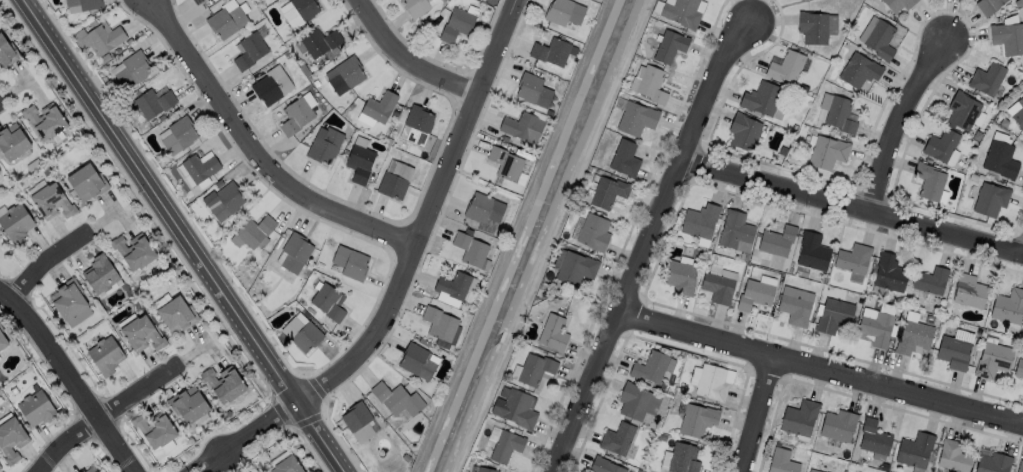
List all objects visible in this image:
building: (196, 2)
building: (83, 4)
building: (896, 4)
building: (987, 6)
building: (416, 7)
building: (298, 12)
building: (562, 12)
building: (680, 13)
building: (225, 22)
building: (455, 25)
building: (811, 28)
building: (1007, 36)
building: (104, 37)
building: (880, 40)
building: (318, 43)
building: (668, 46)
building: (4, 50)
building: (249, 51)
building: (549, 52)
road: (408, 60)
building: (785, 68)
building: (131, 70)
building: (859, 70)
building: (344, 76)
building: (986, 79)
building: (647, 85)
building: (270, 86)
building: (531, 90)
building: (761, 100)
building: (152, 102)
building: (378, 107)
building: (961, 111)
building: (1018, 114)
building: (839, 115)
building: (294, 117)
building: (48, 120)
building: (635, 120)
road: (893, 124)
building: (416, 125)
building: (521, 127)
building: (742, 133)
building: (177, 135)
building: (14, 141)
building: (323, 145)
building: (940, 146)
road: (258, 150)
building: (827, 153)
building: (623, 160)
building: (999, 160)
building: (358, 164)
building: (504, 164)
building: (198, 167)
building: (0, 171)
building: (393, 180)
building: (86, 182)
building: (928, 182)
building: (606, 194)
building: (51, 200)
building: (989, 200)
building: (224, 201)
road: (851, 208)
building: (483, 209)
road: (423, 213)
building: (16, 221)
building: (700, 221)
building: (734, 230)
building: (253, 231)
building: (592, 233)
road: (186, 235)
road: (645, 240)
building: (776, 240)
building: (470, 250)
building: (135, 251)
building: (812, 251)
building: (293, 253)
building: (852, 258)
building: (349, 263)
road: (44, 264)
building: (574, 268)
building: (888, 273)
building: (100, 275)
building: (678, 277)
building: (930, 281)
building: (452, 286)
building: (716, 288)
building: (968, 292)
building: (753, 295)
building: (68, 300)
building: (327, 302)
building: (1007, 306)
building: (793, 310)
building: (177, 314)
building: (833, 316)
building: (439, 324)
building: (876, 329)
building: (140, 332)
building: (551, 333)
building: (300, 334)
building: (912, 338)
building: (3, 340)
building: (952, 353)
building: (108, 355)
building: (992, 360)
building: (416, 362)
building: (649, 366)
road: (819, 368)
building: (533, 369)
building: (1018, 369)
road: (72, 381)
building: (710, 381)
building: (225, 383)
building: (396, 400)
building: (632, 400)
building: (190, 404)
building: (35, 409)
building: (513, 409)
road: (759, 414)
road: (103, 417)
building: (355, 417)
building: (798, 417)
building: (696, 419)
building: (837, 425)
building: (156, 428)
road: (252, 437)
building: (616, 437)
building: (873, 437)
building: (12, 440)
building: (504, 446)
building: (914, 449)
building: (952, 455)
building: (682, 458)
building: (781, 461)
building: (992, 462)
building: (287, 465)
building: (603, 465)
building: (1019, 465)
building: (0, 468)
building: (88, 470)
building: (483, 470)
building: (812, 470)
building: (79, 471)

